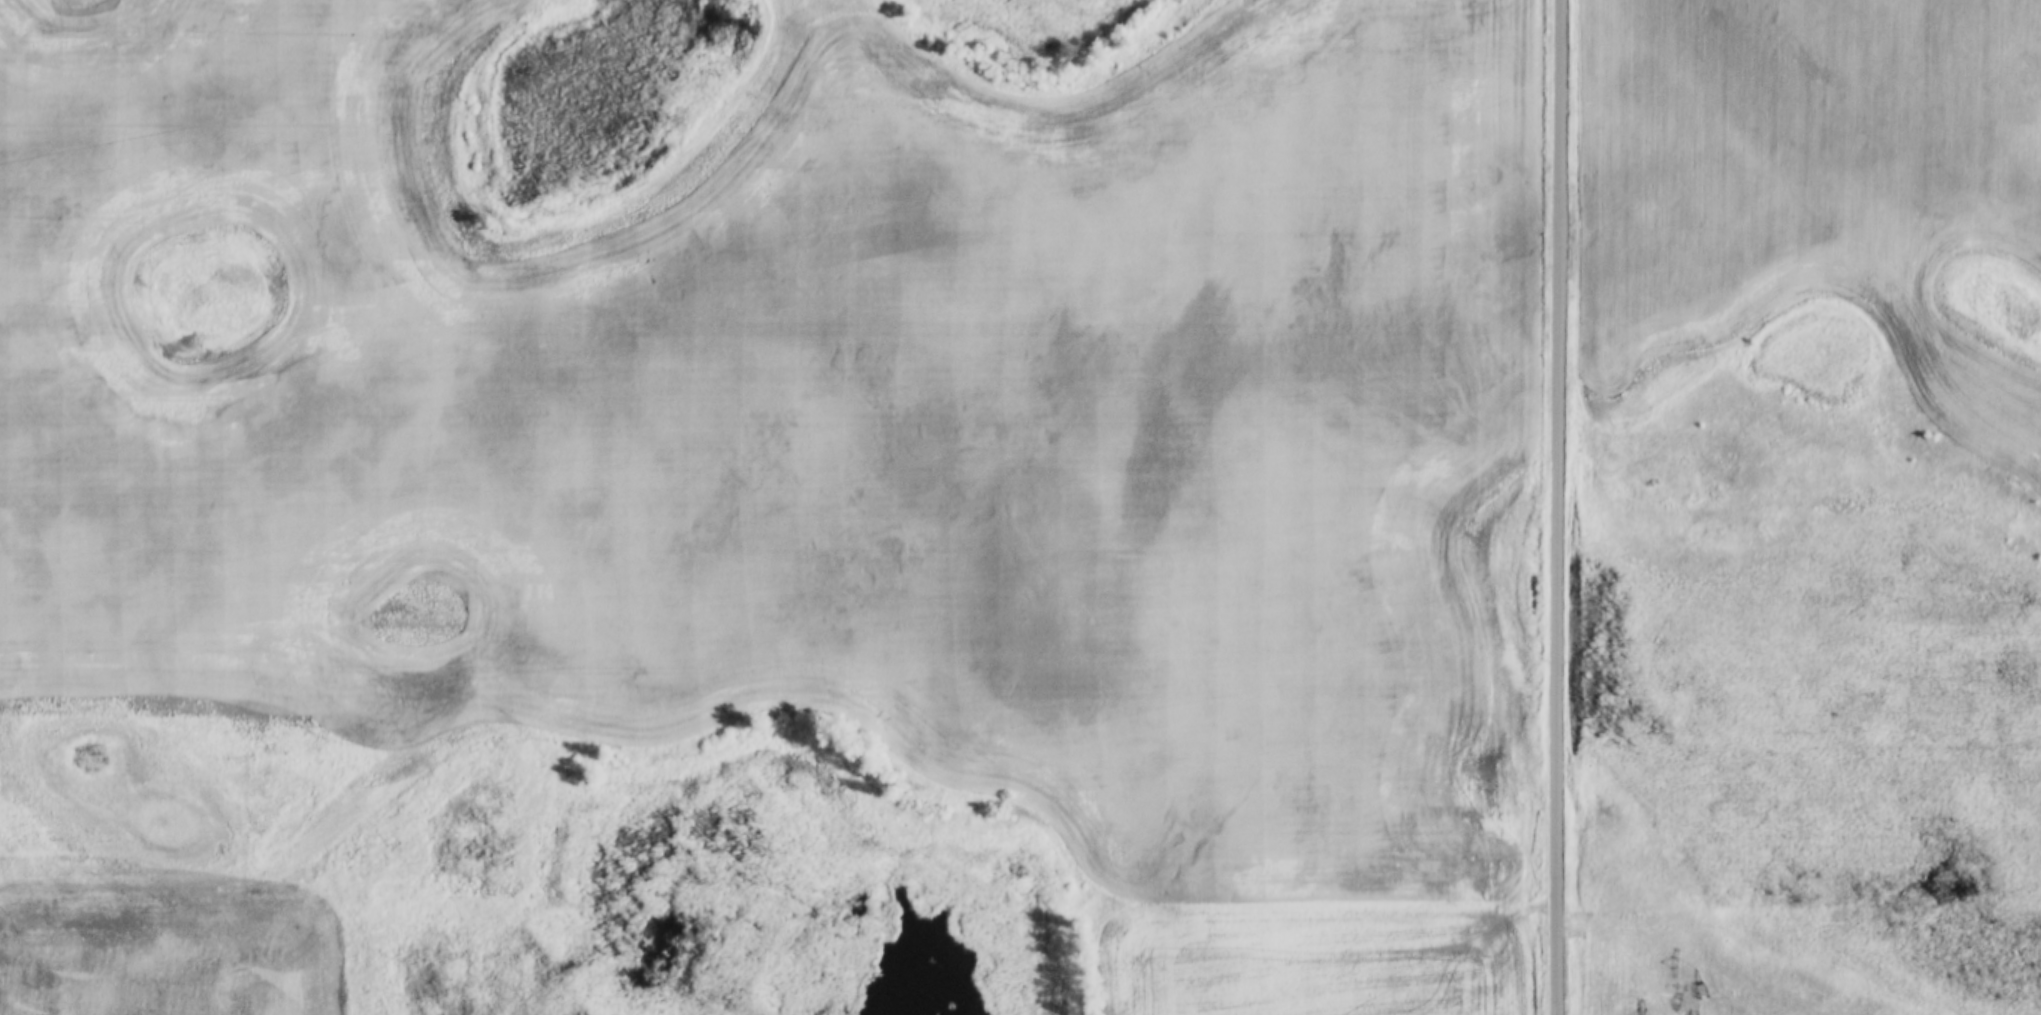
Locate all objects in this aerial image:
road: (1561, 507)

